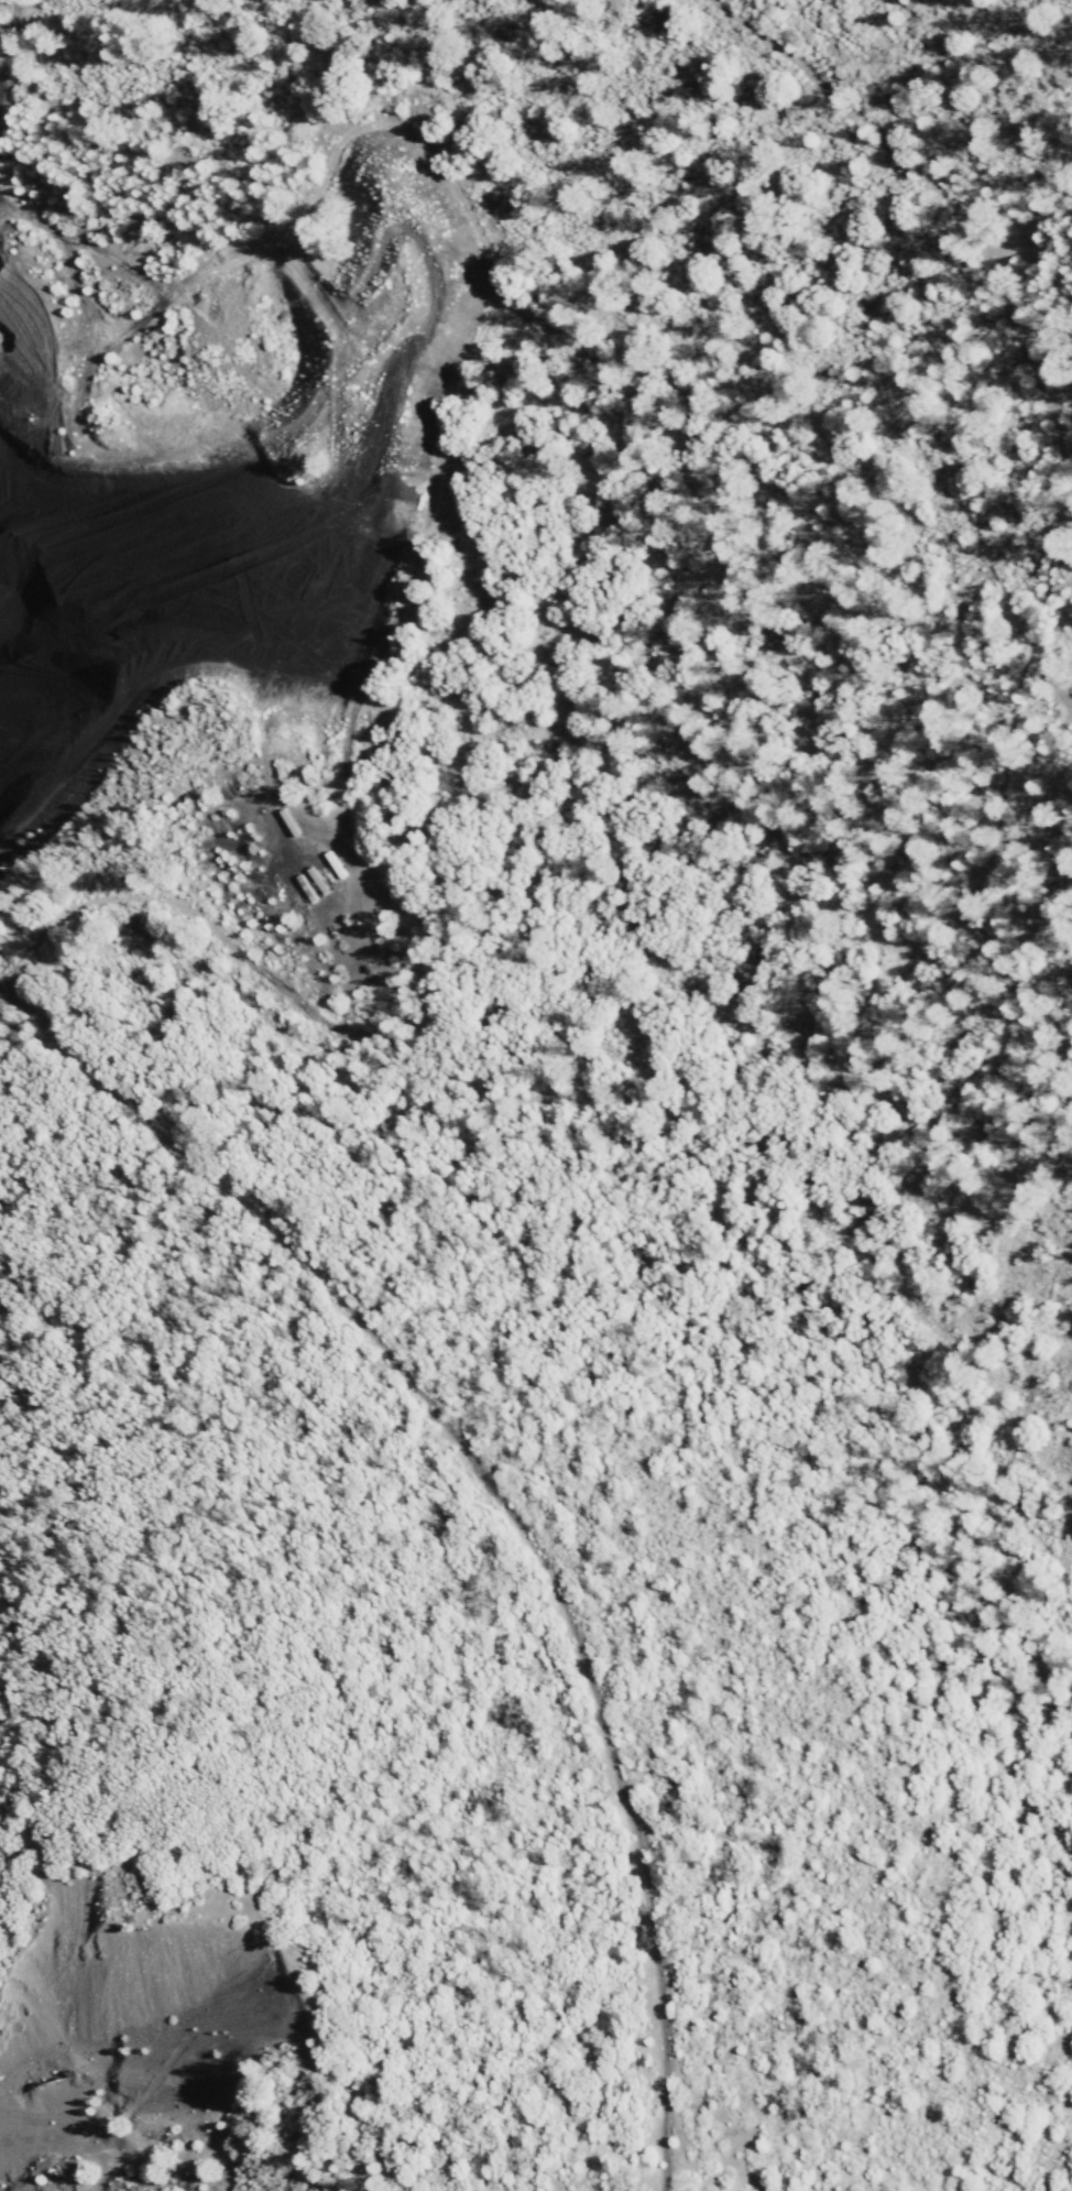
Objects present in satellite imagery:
road: (10, 51)
road: (1063, 476)
quarry: (206, 602)
road: (497, 1503)
quarry: (141, 2031)

